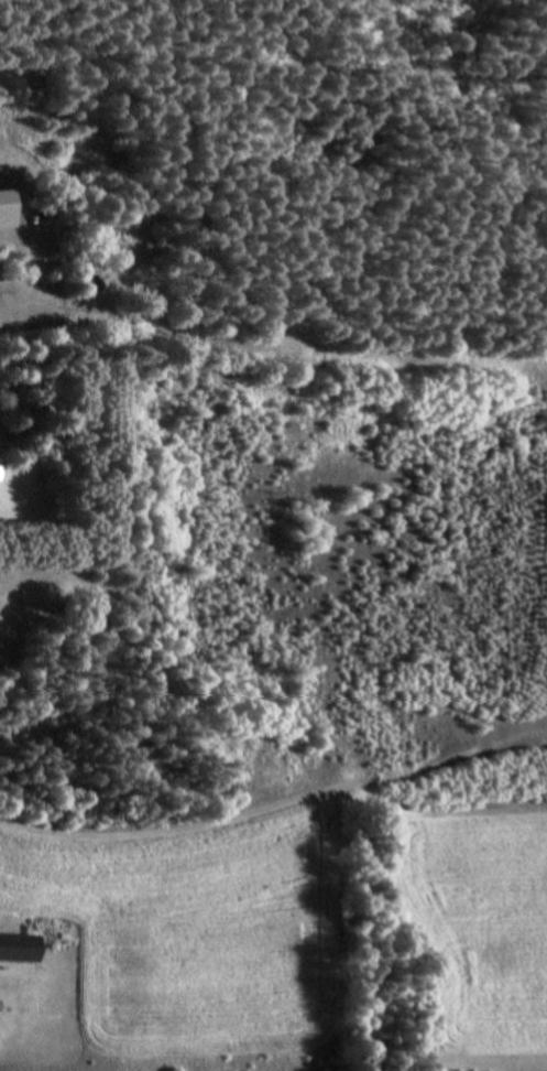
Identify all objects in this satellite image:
building: (14, 946)

